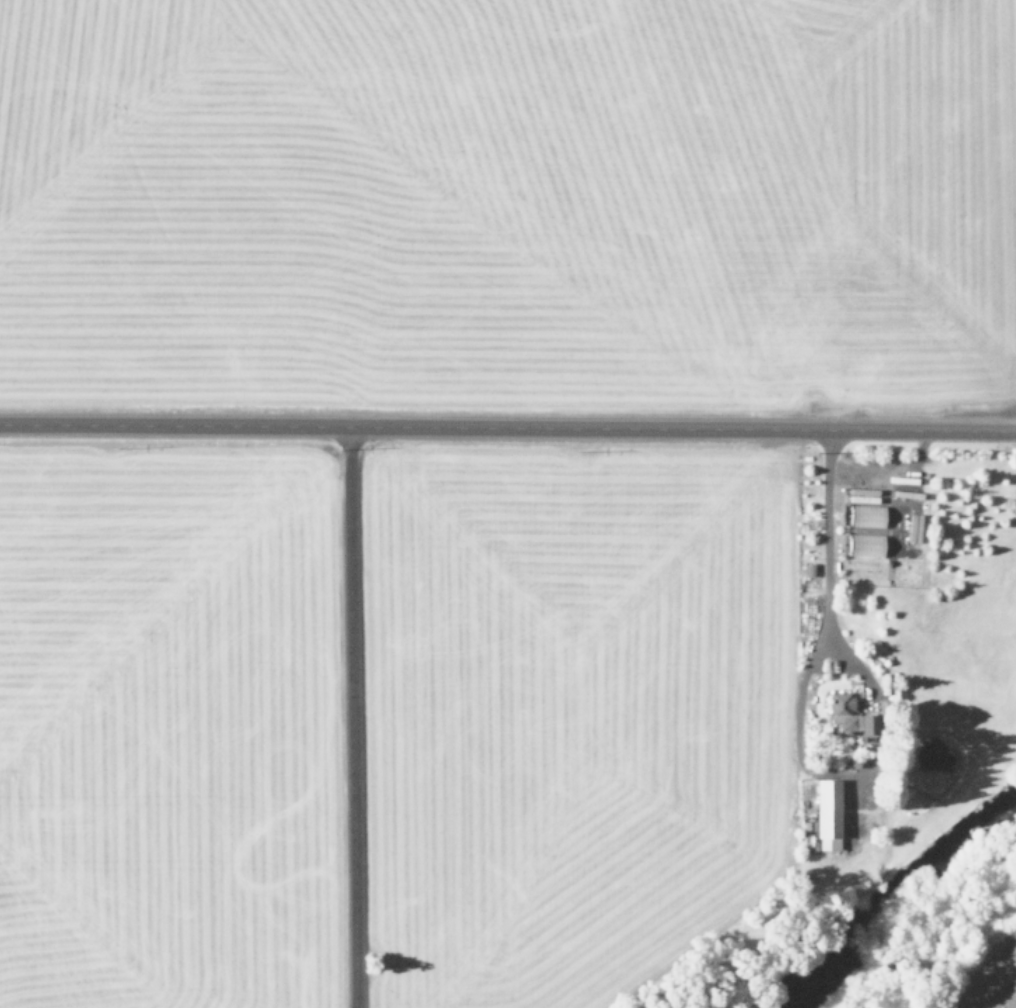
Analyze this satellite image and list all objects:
crop: (509, 197)
road: (508, 427)
building: (865, 516)
building: (912, 528)
building: (864, 545)
road: (353, 717)
building: (846, 718)
crop: (387, 721)
building: (825, 815)
crop: (980, 975)

